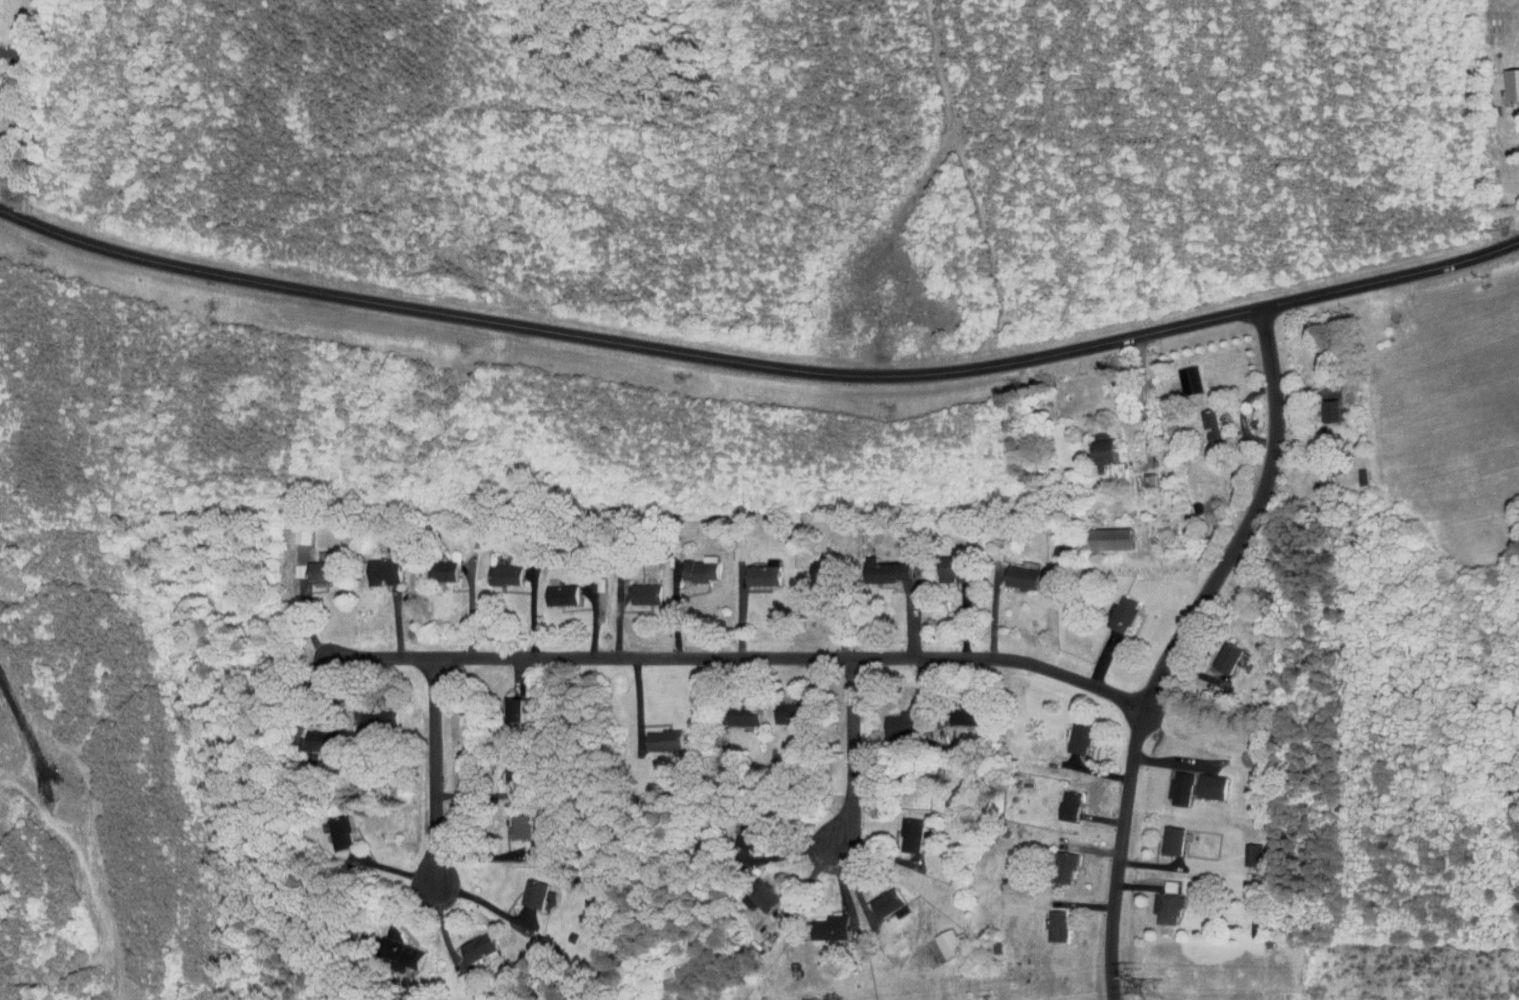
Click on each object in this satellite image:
road: (30, 25)
building: (1508, 77)
road: (18, 114)
road: (758, 359)
building: (1182, 374)
building: (1328, 405)
building: (1207, 420)
road: (1129, 432)
building: (1099, 442)
building: (293, 527)
building: (1108, 533)
building: (817, 564)
building: (292, 565)
building: (439, 565)
building: (694, 565)
building: (886, 565)
building: (377, 566)
building: (947, 566)
building: (313, 567)
building: (758, 567)
building: (499, 569)
building: (1016, 572)
building: (639, 588)
building: (555, 589)
building: (1117, 608)
road: (1173, 645)
building: (1224, 653)
road: (736, 658)
building: (512, 704)
building: (785, 708)
building: (739, 709)
building: (958, 709)
building: (378, 714)
building: (896, 719)
road: (24, 731)
building: (1073, 733)
building: (314, 734)
building: (658, 734)
road: (852, 754)
building: (513, 765)
road: (435, 769)
building: (1204, 781)
building: (1172, 782)
building: (1064, 800)
building: (515, 820)
building: (334, 828)
building: (905, 829)
building: (742, 832)
building: (1167, 835)
building: (1244, 849)
road: (787, 854)
building: (1063, 854)
building: (529, 888)
building: (760, 893)
building: (881, 897)
building: (1159, 898)
road: (486, 902)
building: (1048, 919)
building: (829, 921)
building: (1251, 922)
building: (941, 938)
building: (476, 943)
building: (403, 952)
building: (459, 972)
power tower: (1155, 990)

